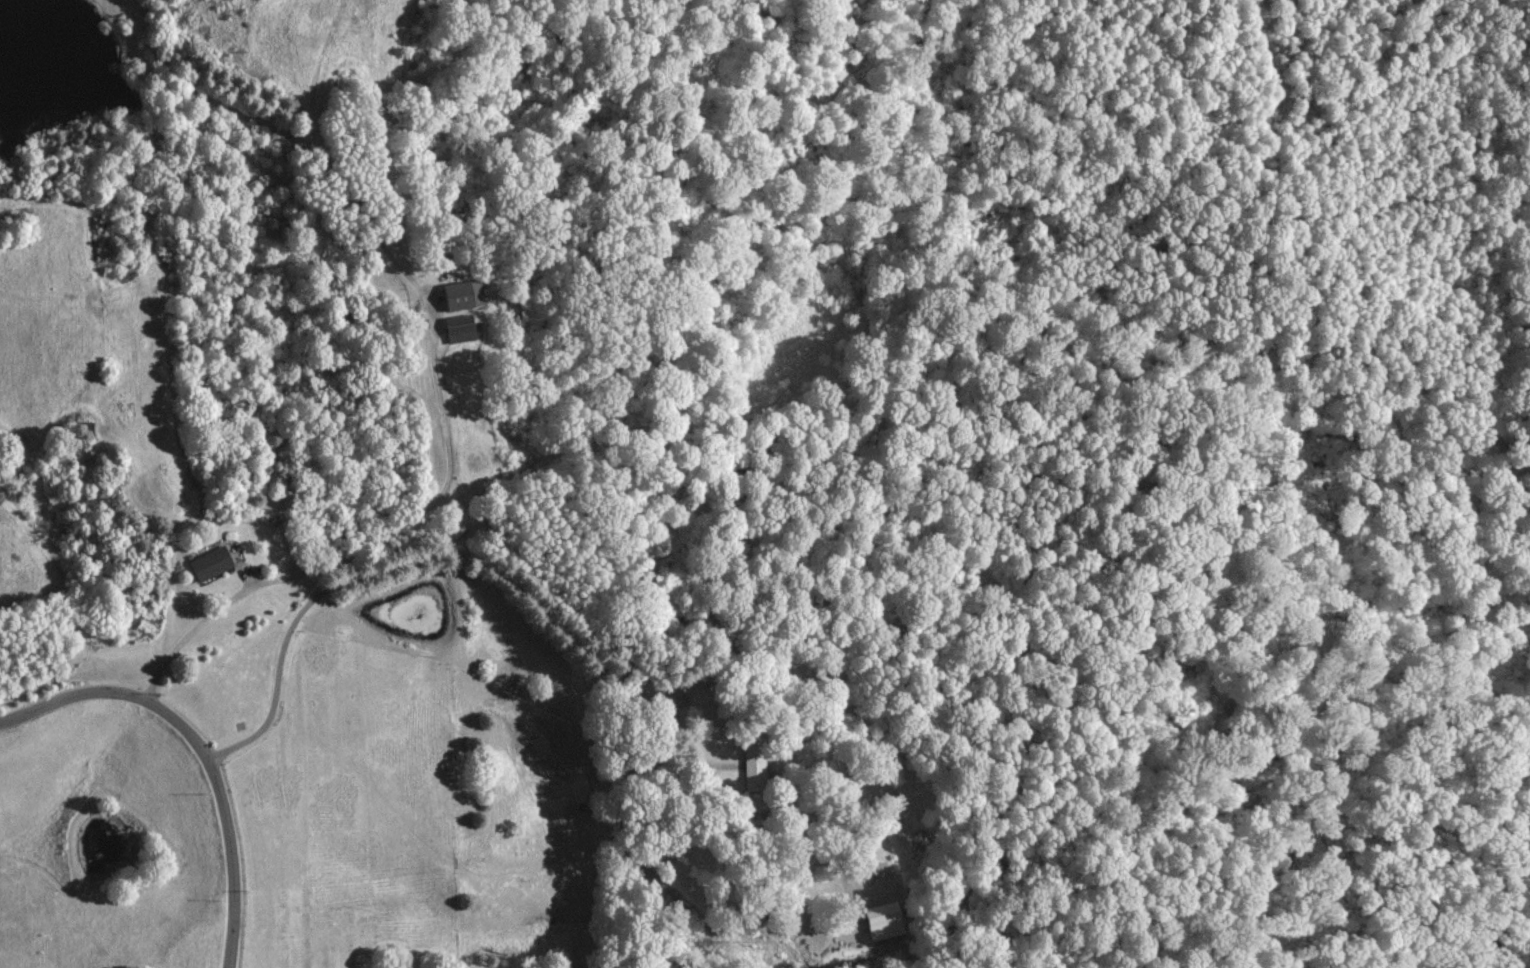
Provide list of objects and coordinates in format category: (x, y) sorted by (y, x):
building: (461, 295)
building: (458, 328)
road: (402, 533)
building: (209, 563)
road: (541, 609)
road: (197, 750)
building: (752, 767)
building: (872, 869)
building: (882, 921)

